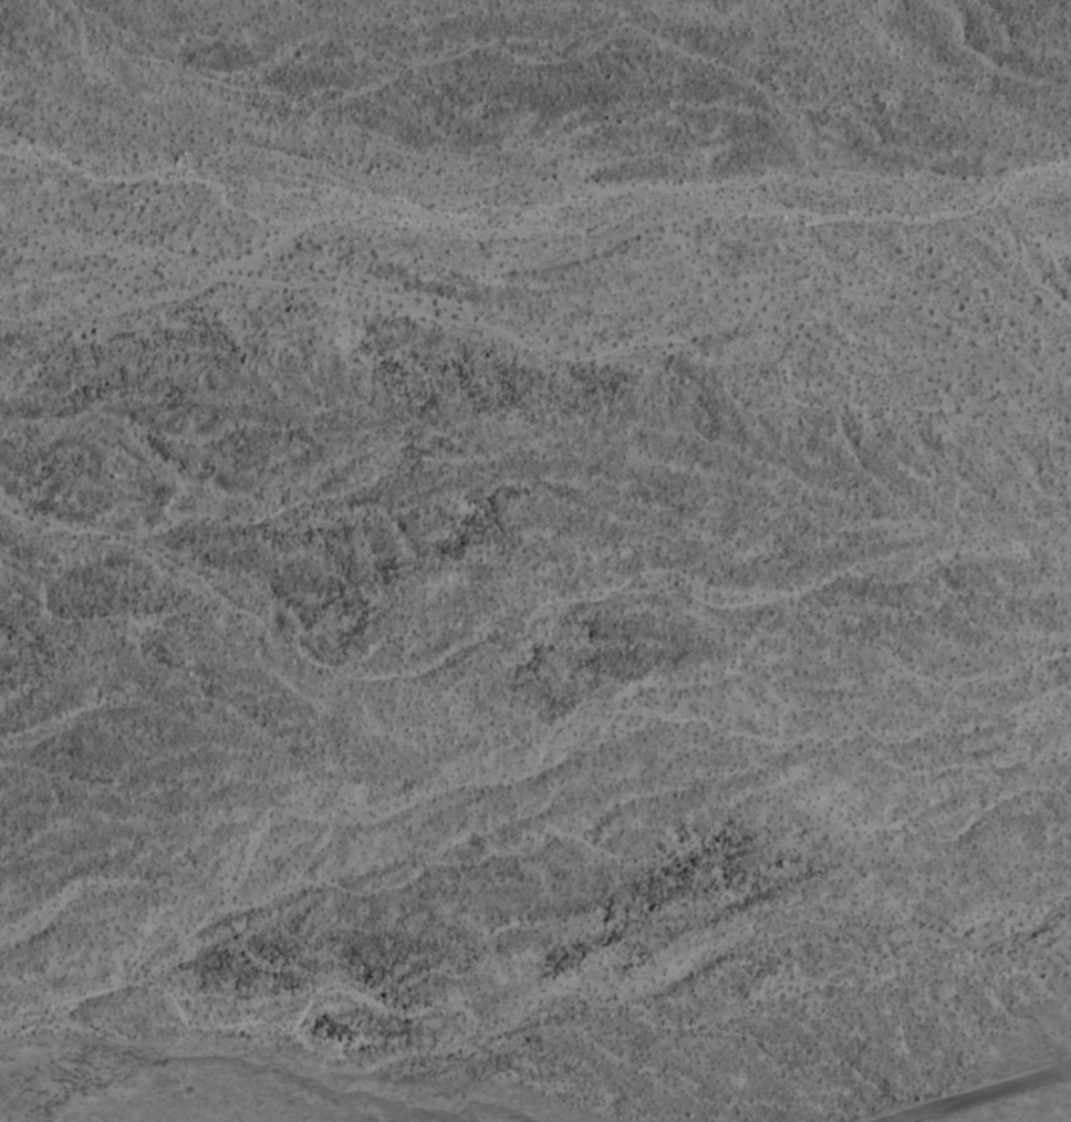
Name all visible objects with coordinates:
road: (982, 1093)

